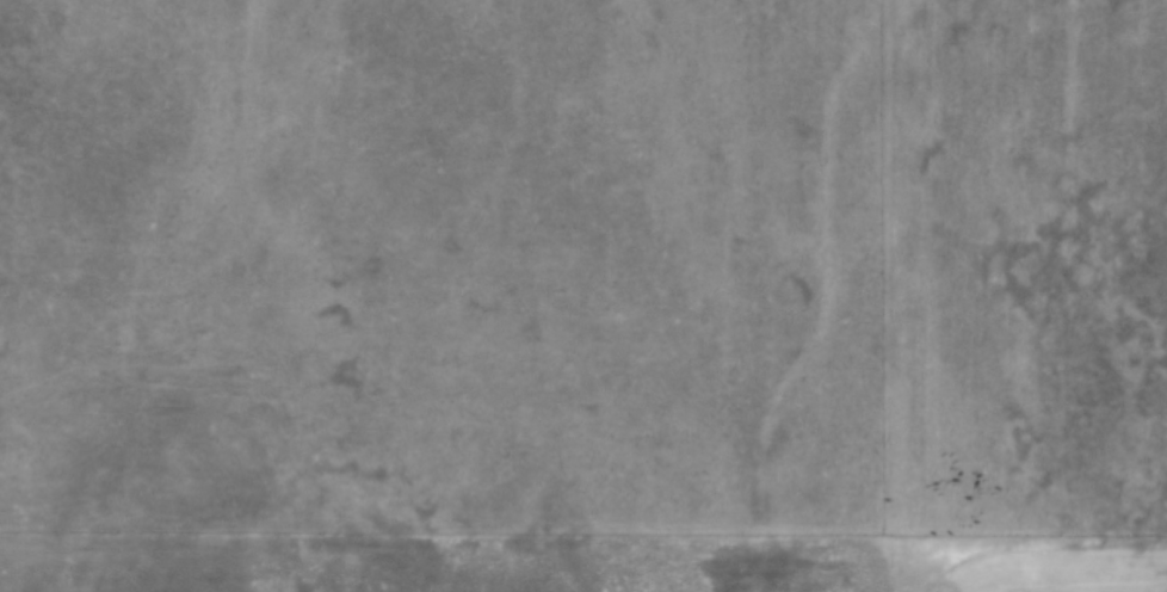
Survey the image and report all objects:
road: (89, 561)

